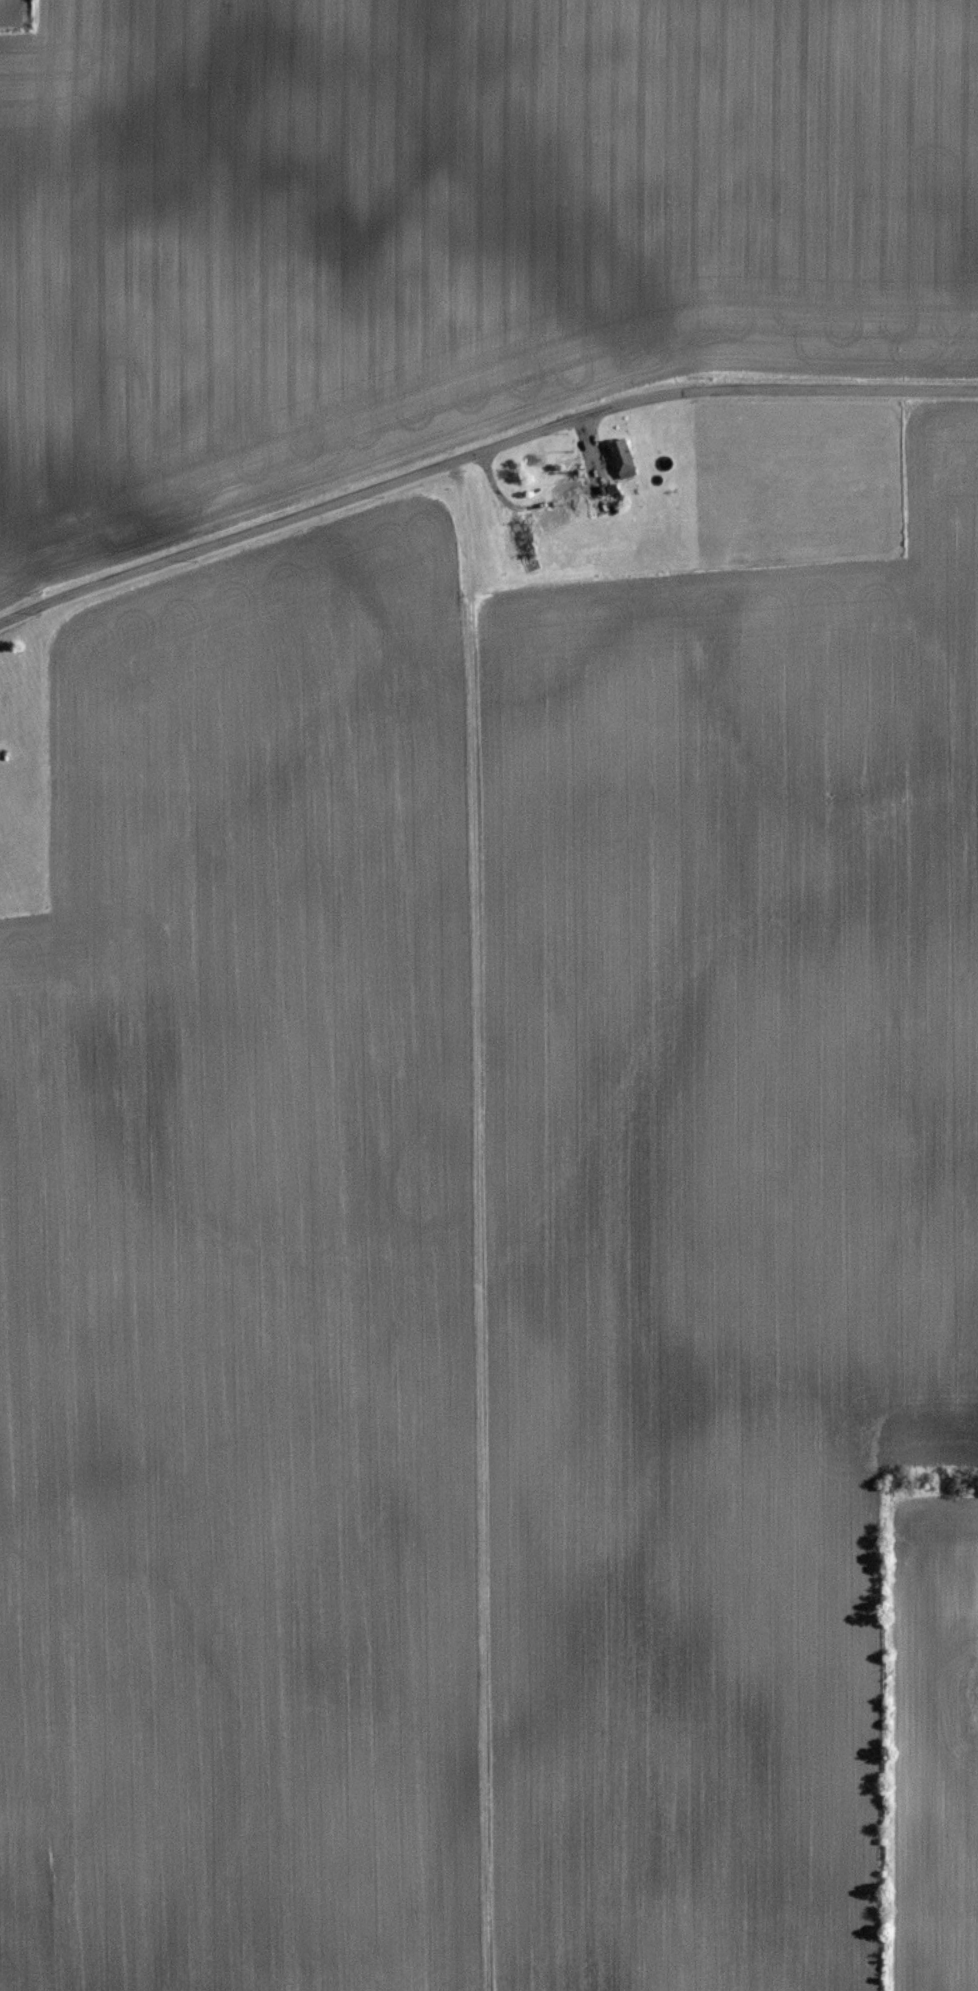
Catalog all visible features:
road: (478, 449)
building: (617, 458)

